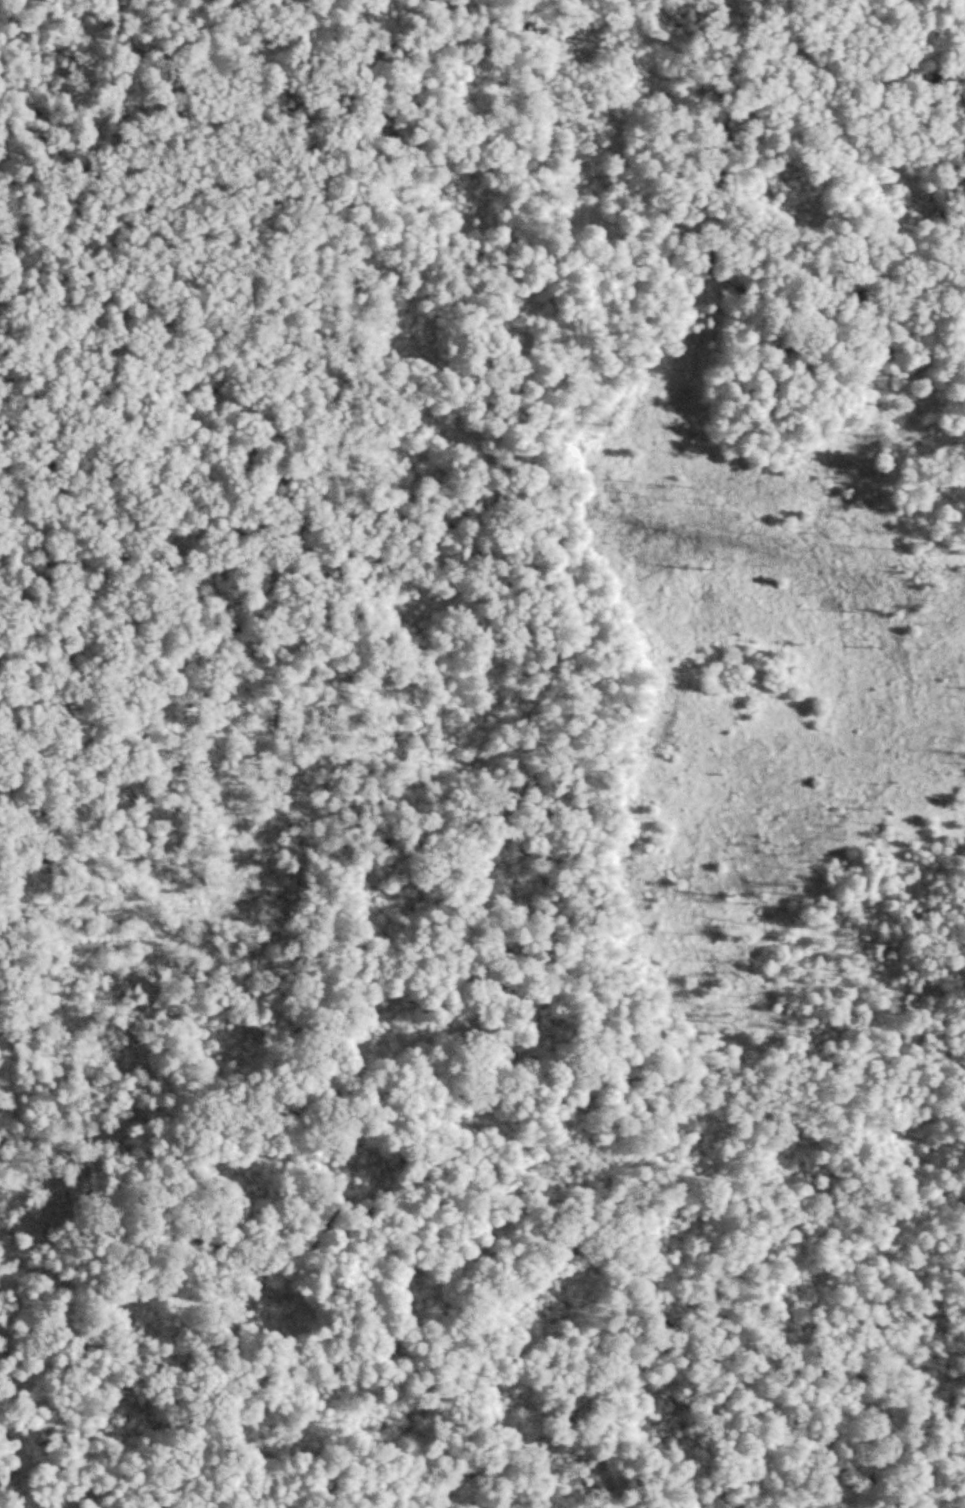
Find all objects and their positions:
road: (799, 85)

